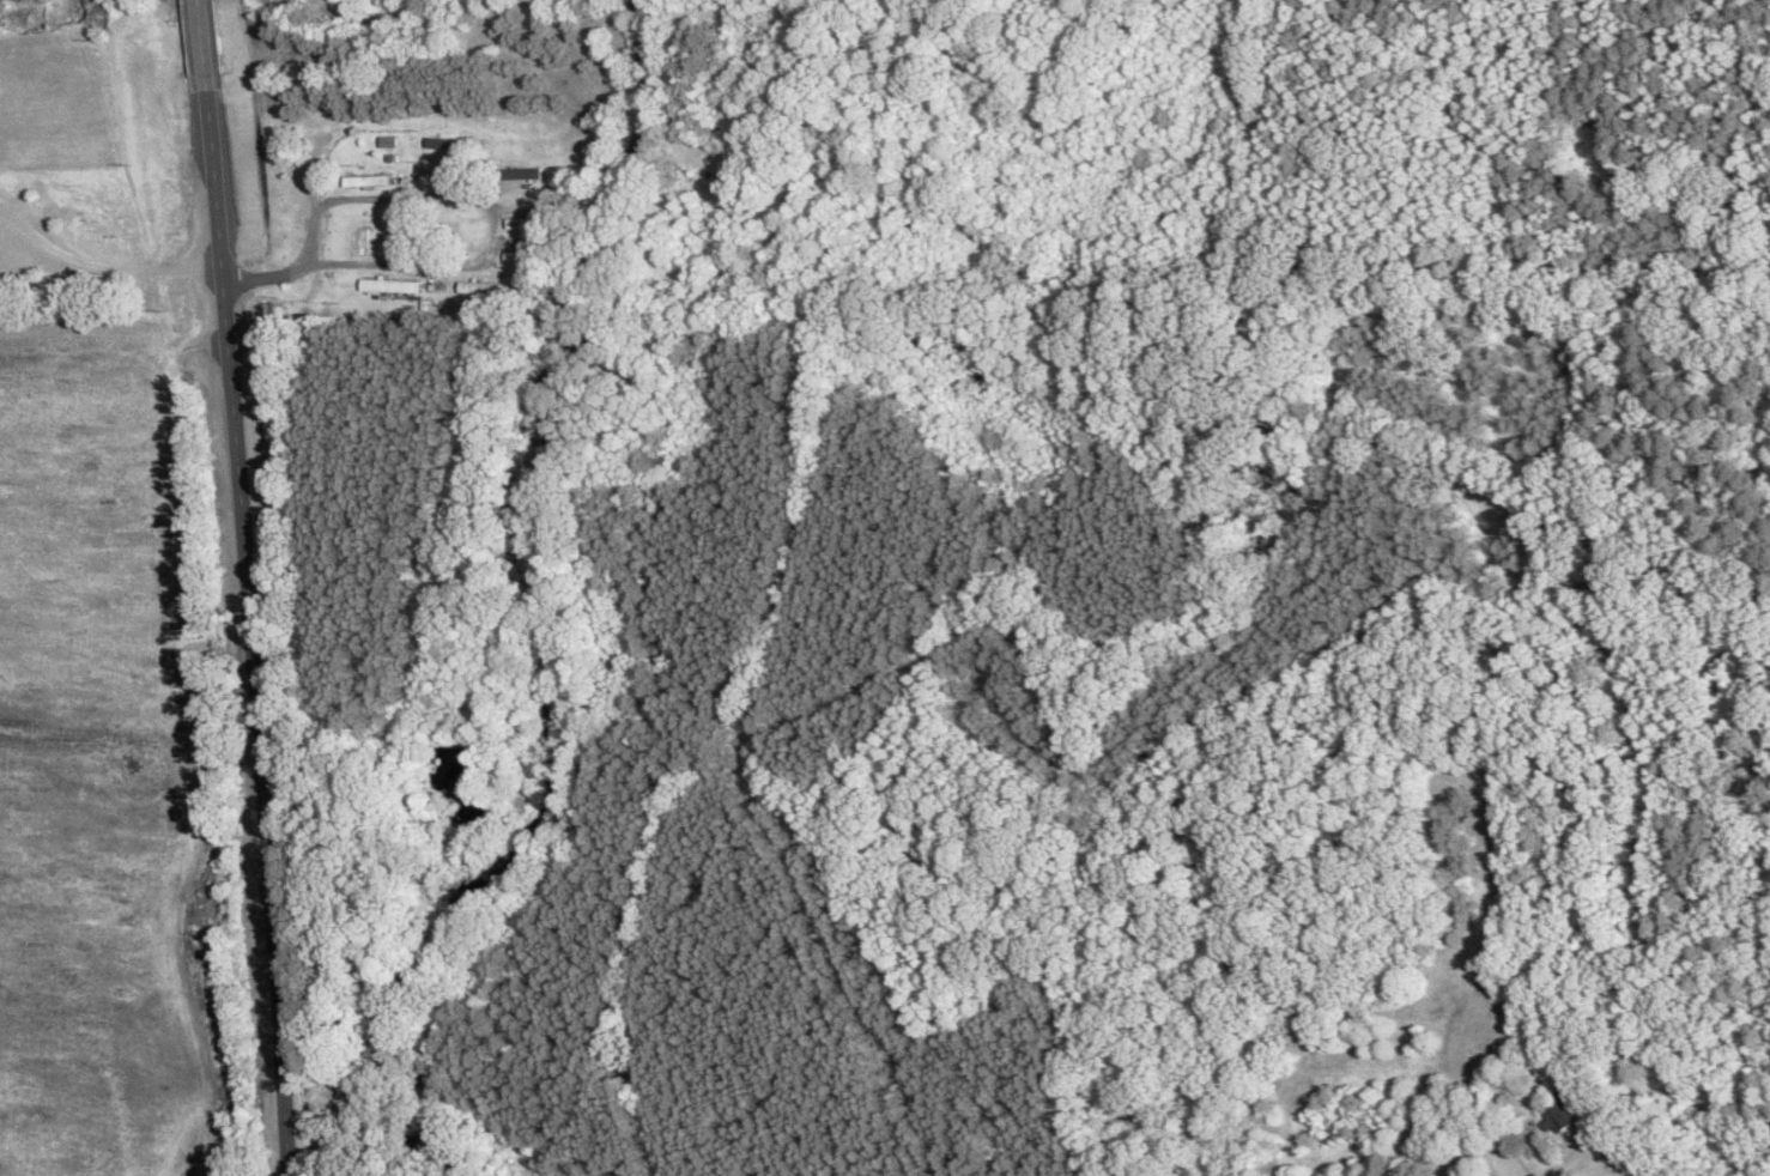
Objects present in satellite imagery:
road: (205, 37)
building: (444, 176)
building: (369, 180)
building: (529, 223)
road: (493, 238)
building: (527, 257)
road: (372, 286)
road: (257, 625)
building: (1562, 1113)

